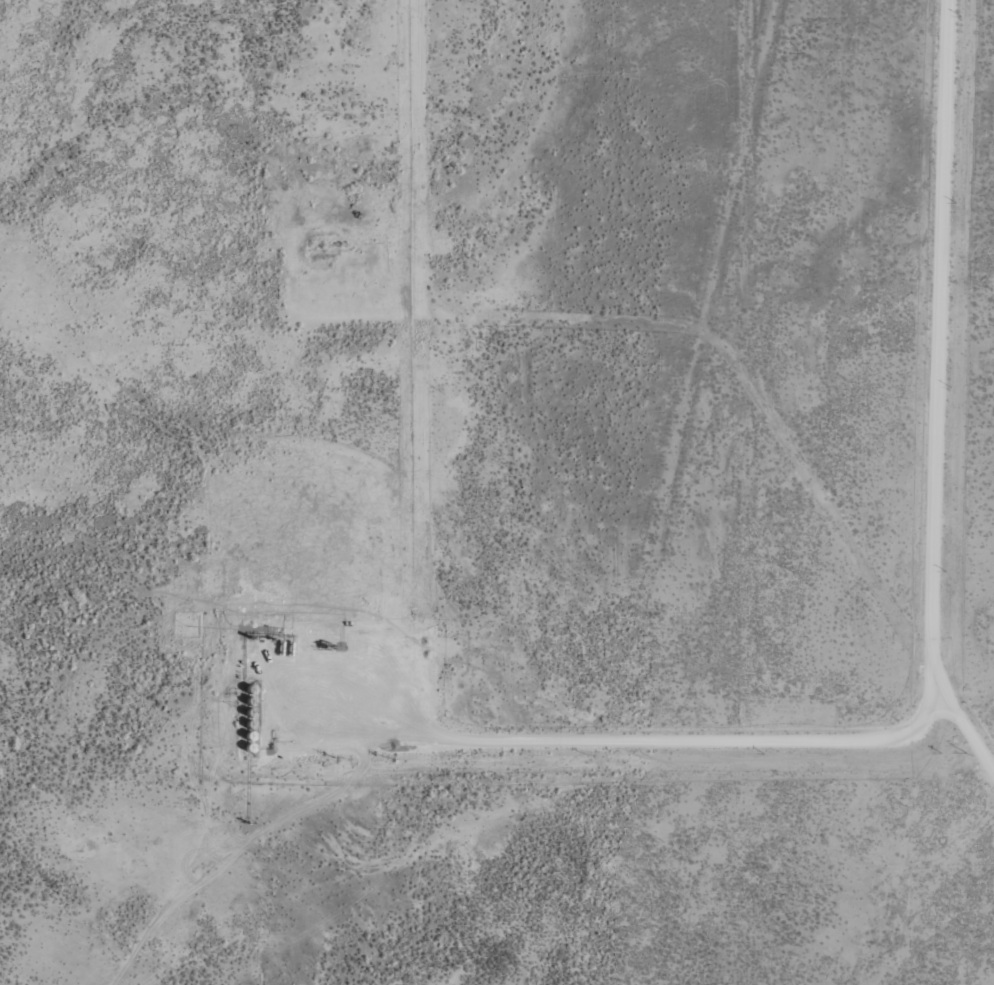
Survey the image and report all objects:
road: (655, 490)

